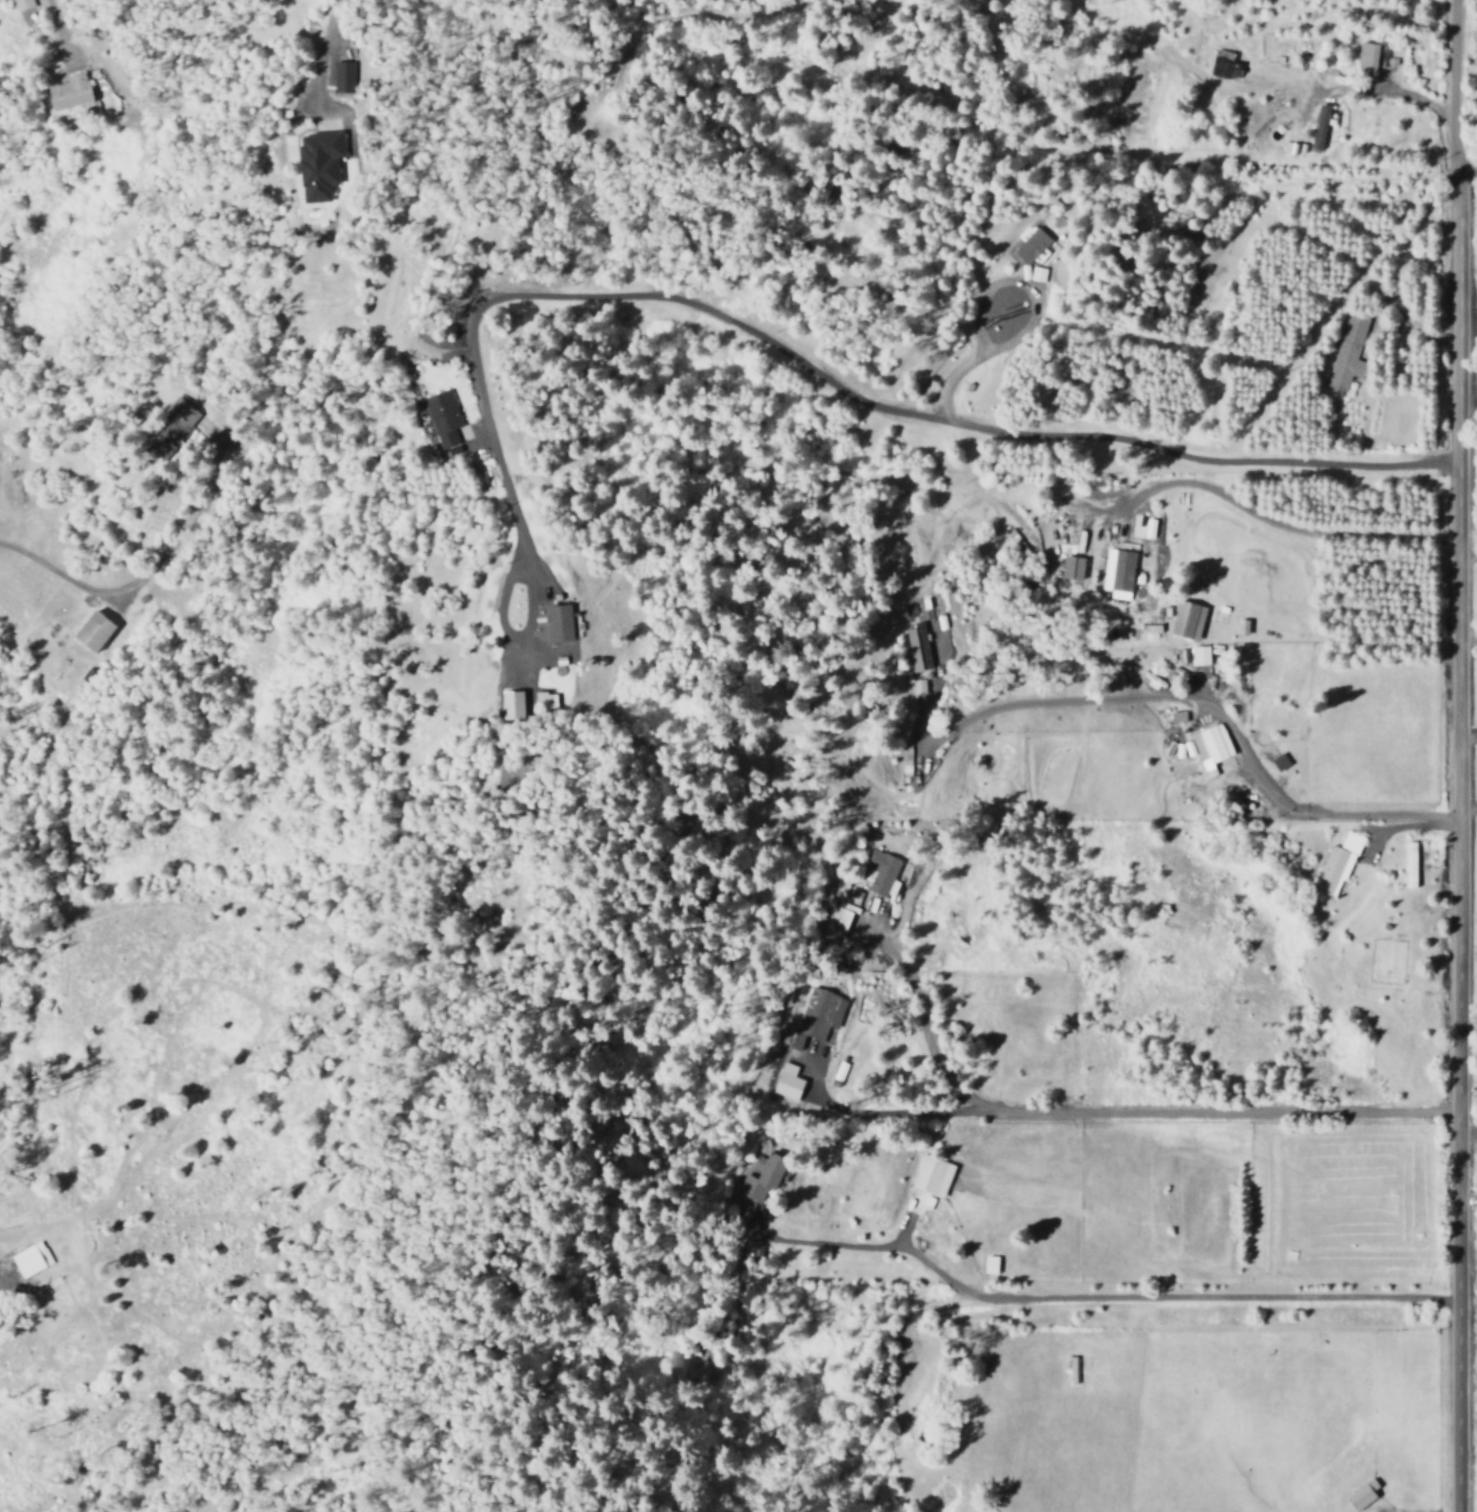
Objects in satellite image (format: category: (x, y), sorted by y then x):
building: (22, 4)
building: (1371, 54)
road: (315, 57)
building: (1225, 64)
building: (344, 77)
road: (1450, 85)
building: (72, 92)
building: (1321, 126)
building: (1289, 148)
building: (321, 165)
building: (1031, 243)
building: (1036, 274)
road: (1018, 284)
building: (1347, 353)
road: (947, 382)
road: (835, 389)
building: (184, 412)
building: (445, 418)
building: (1075, 568)
building: (1118, 571)
road: (525, 582)
building: (1189, 620)
building: (559, 624)
building: (97, 631)
building: (917, 648)
building: (1197, 656)
building: (918, 687)
building: (547, 701)
building: (516, 705)
building: (1177, 717)
building: (1212, 748)
building: (1280, 762)
road: (1459, 841)
building: (1337, 866)
building: (881, 872)
building: (818, 1017)
building: (790, 1082)
road: (1101, 1113)
road: (879, 1116)
building: (763, 1176)
building: (932, 1176)
building: (32, 1259)
building: (991, 1264)
road: (1090, 1299)
road: (898, 1354)
building: (1363, 1496)

